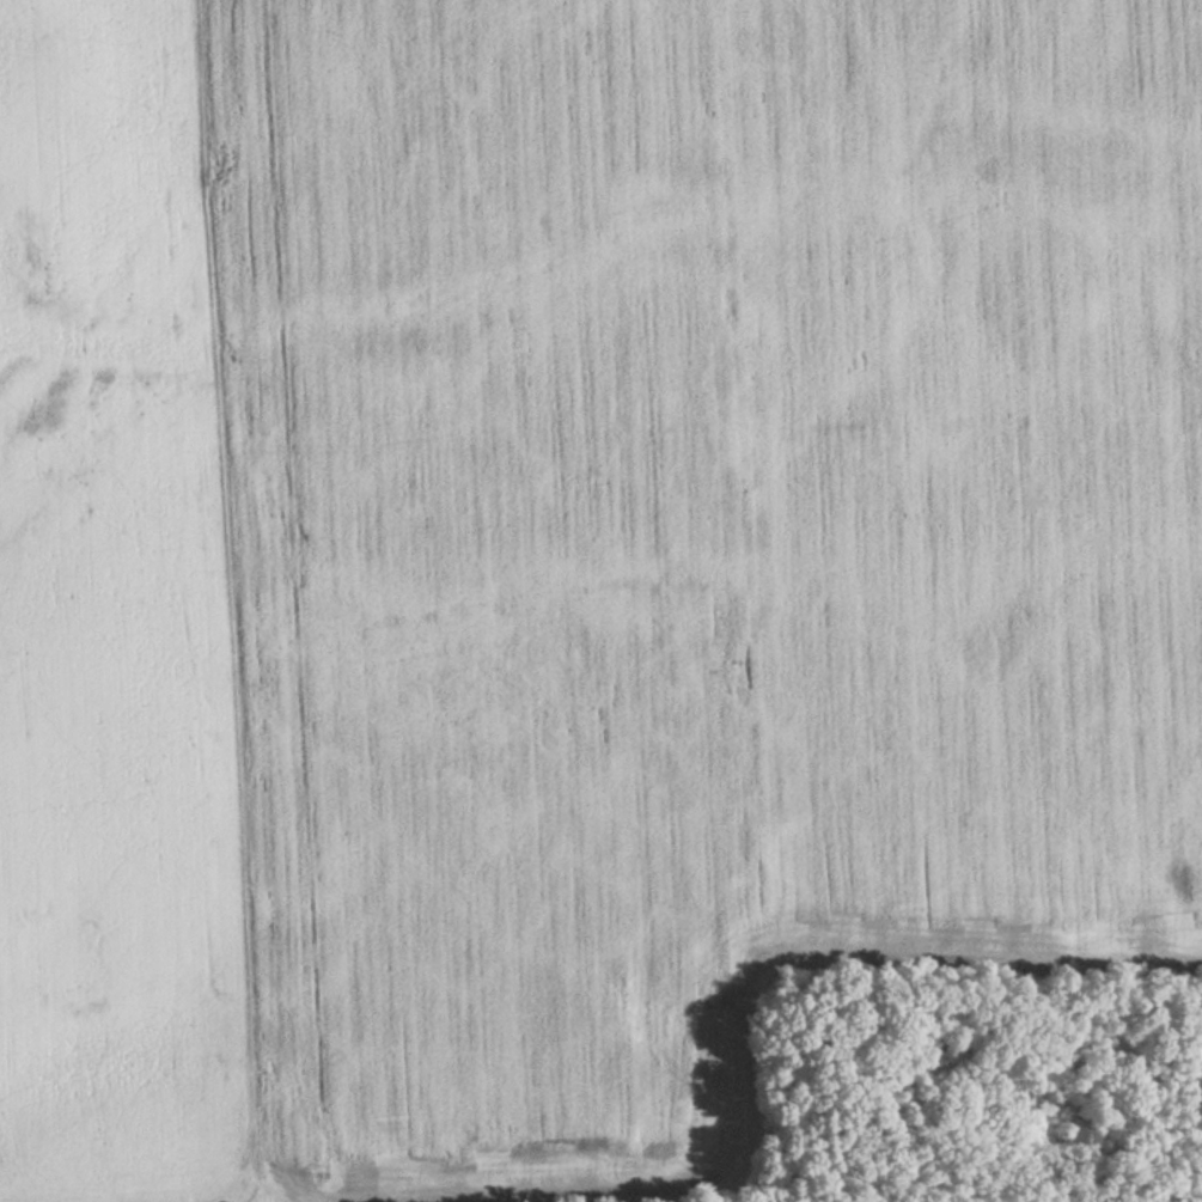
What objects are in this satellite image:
road: (133, 617)

